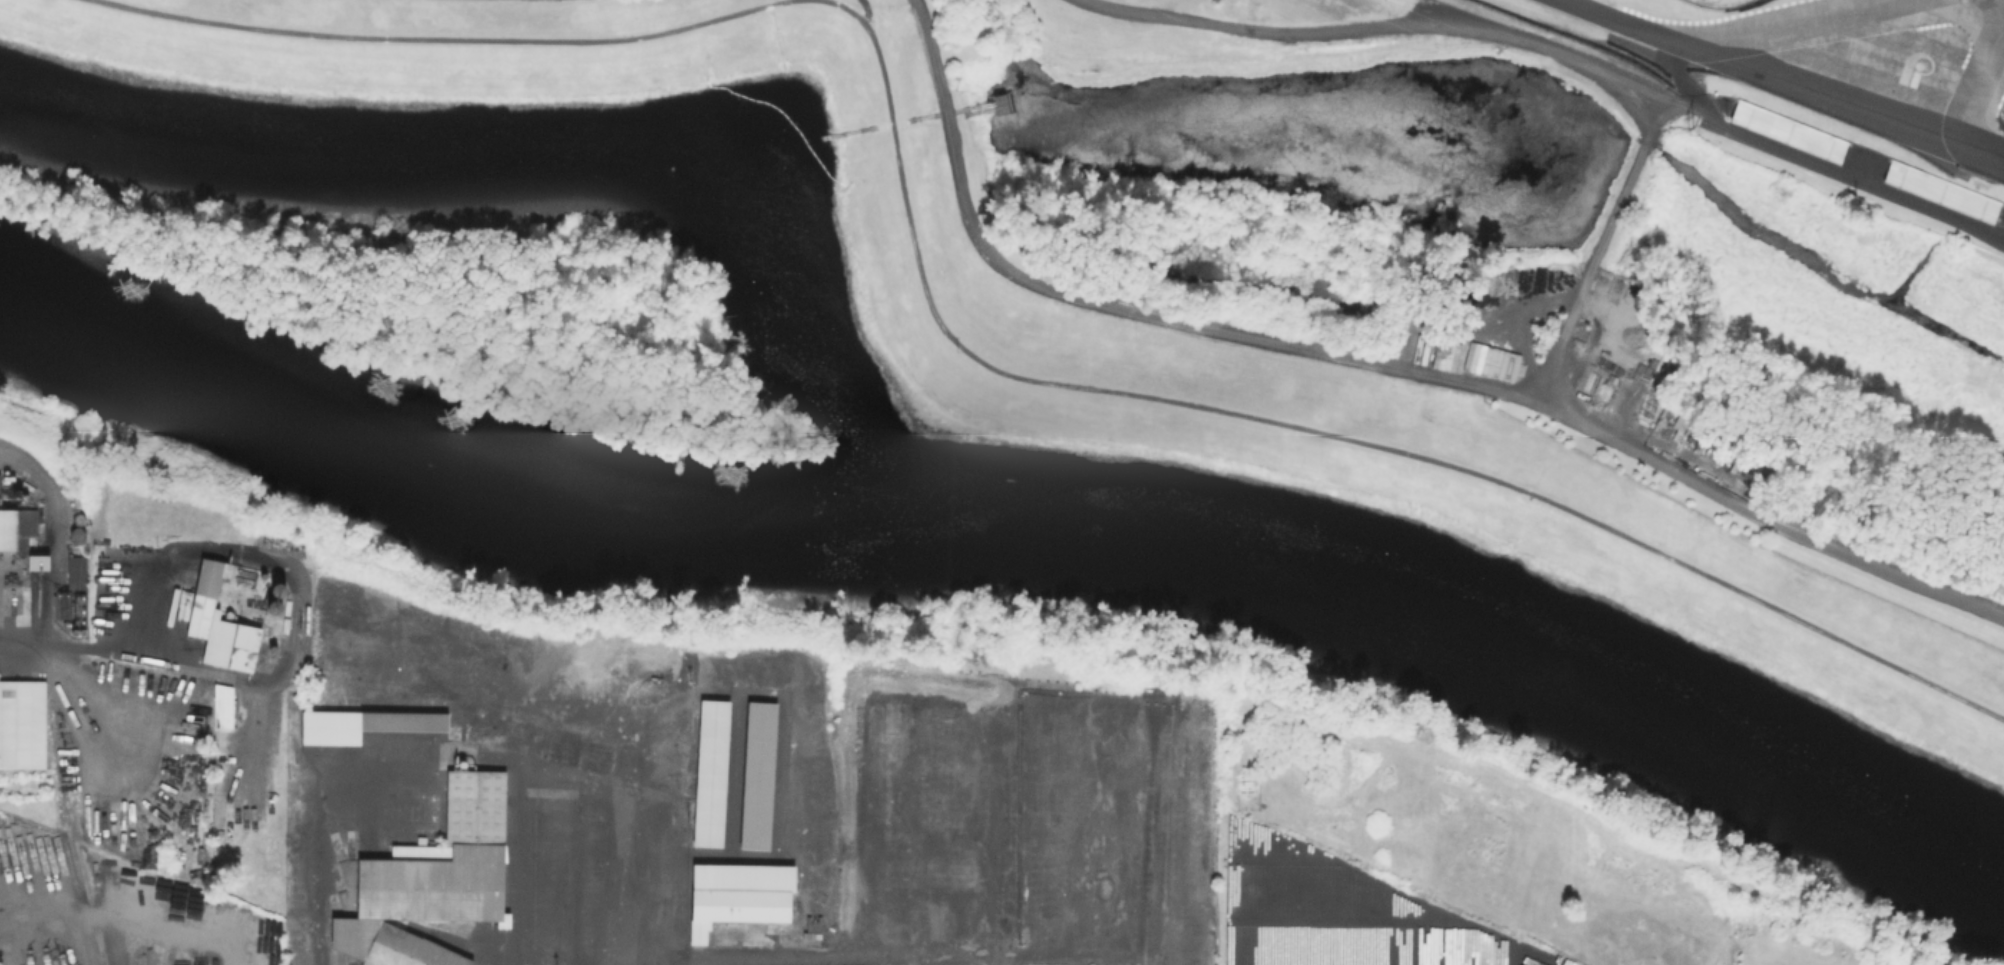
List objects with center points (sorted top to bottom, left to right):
park: (538, 1)
raceway: (1785, 24)
road: (445, 39)
road: (1564, 50)
stadium: (1676, 76)
road: (1686, 83)
raceway: (1782, 85)
raceway: (1975, 86)
building: (999, 102)
road: (1595, 249)
park: (1081, 323)
road: (1379, 367)
road: (1310, 429)
building: (7, 528)
building: (36, 561)
building: (75, 571)
building: (68, 605)
building: (218, 623)
road: (94, 646)
building: (597, 659)
building: (226, 709)
building: (360, 722)
building: (22, 726)
building: (709, 770)
building: (757, 774)
building: (425, 812)
railway: (71, 833)
building: (435, 883)
road: (583, 894)
building: (736, 894)

